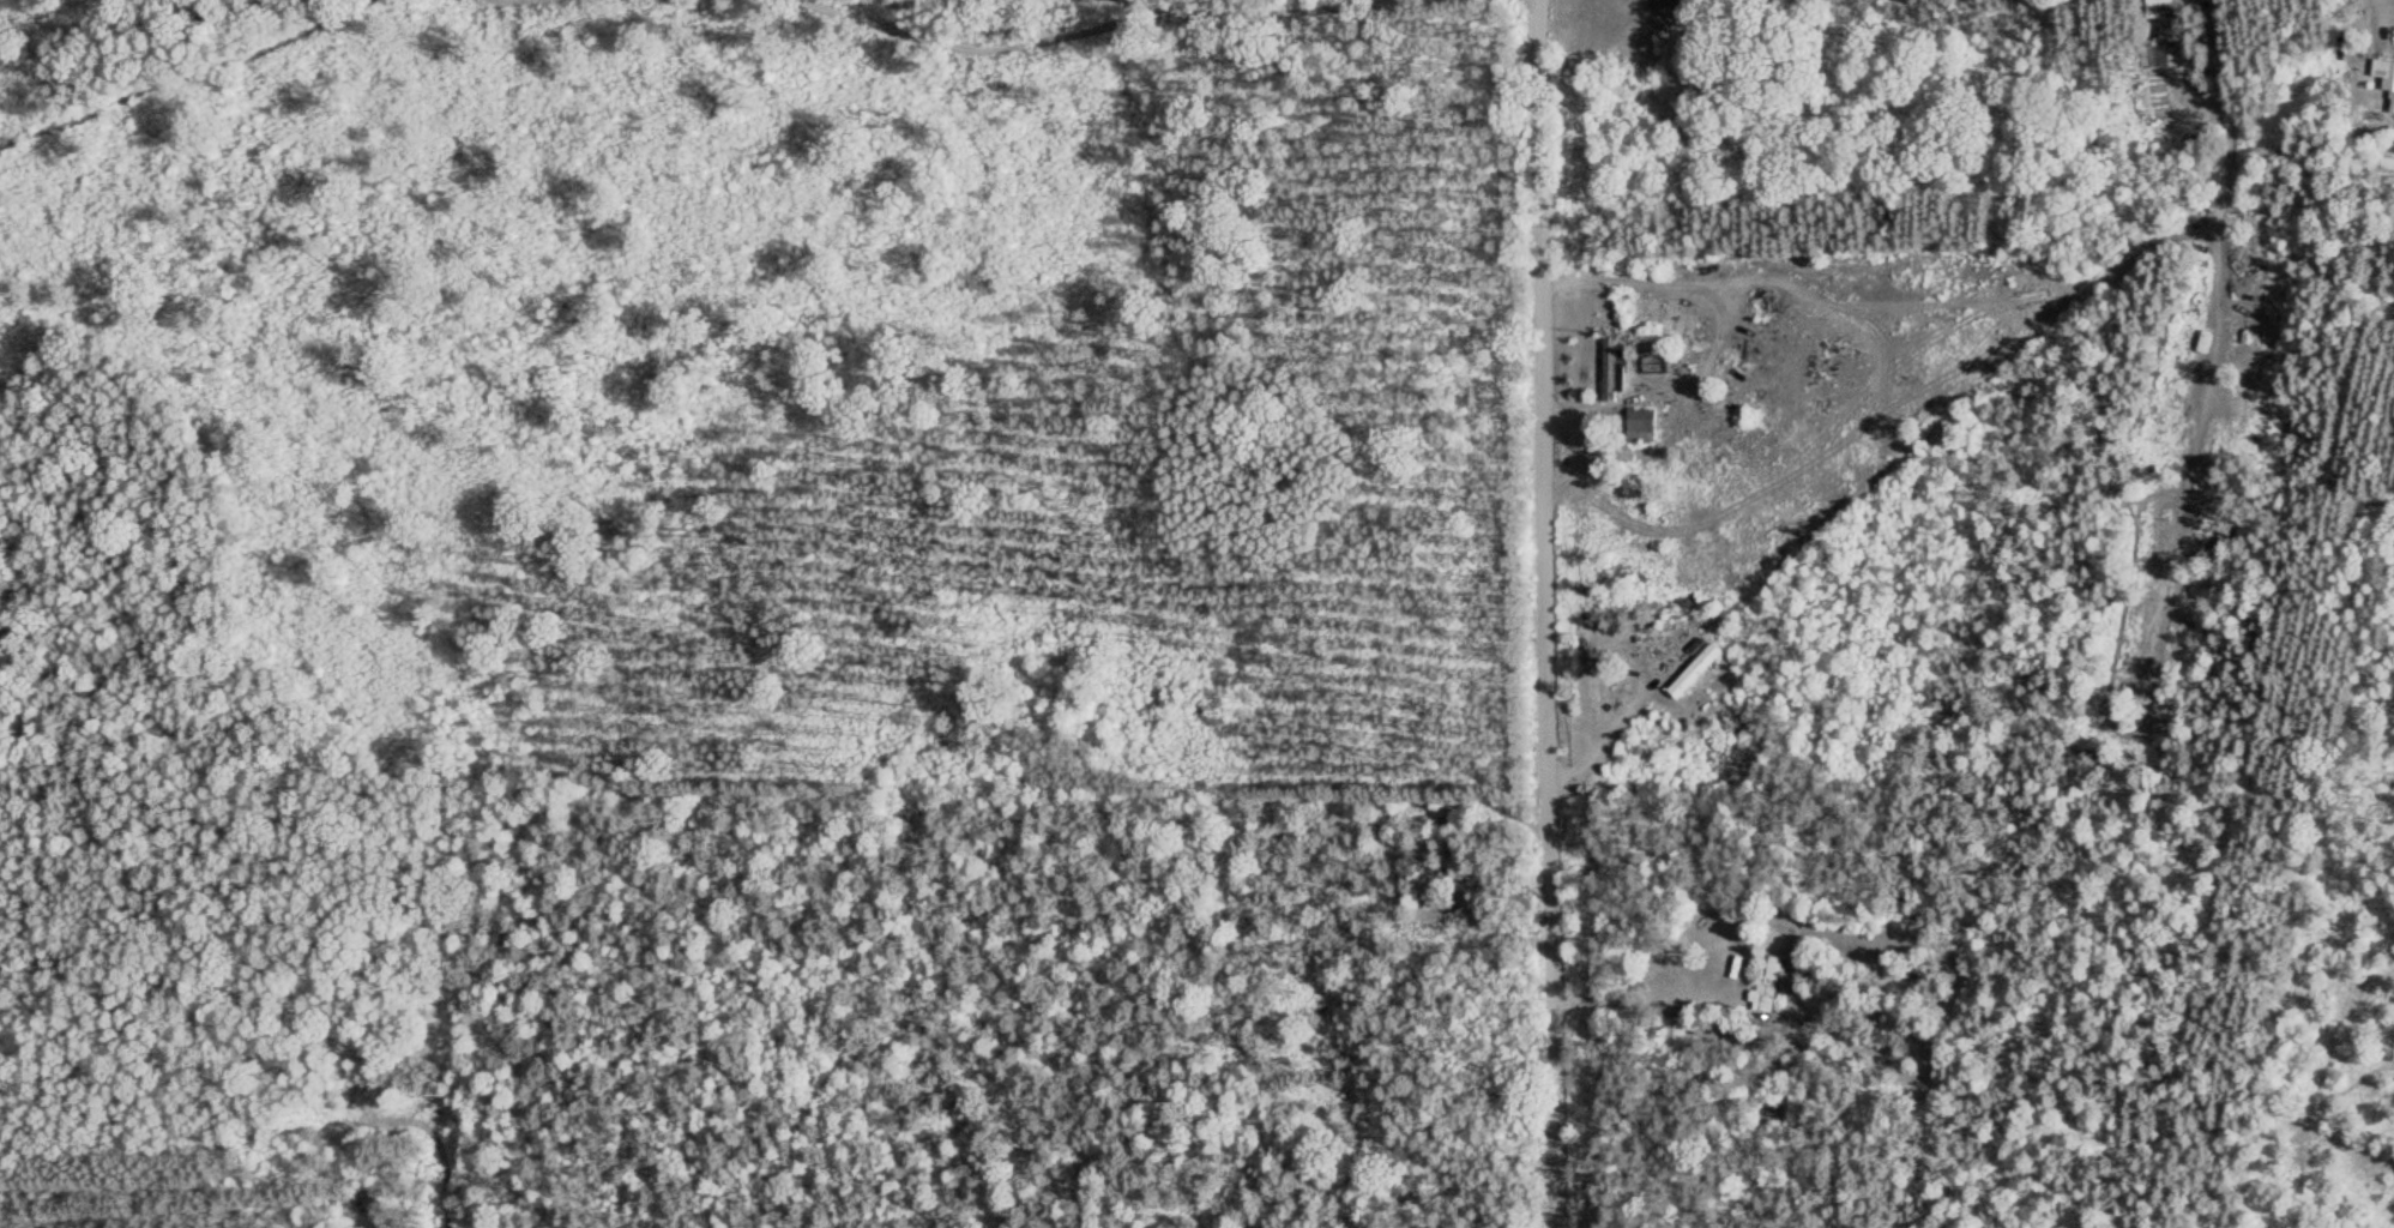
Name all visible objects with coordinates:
building: (2160, 8)
building: (2388, 82)
road: (1533, 613)
building: (1768, 983)
building: (1678, 1031)

